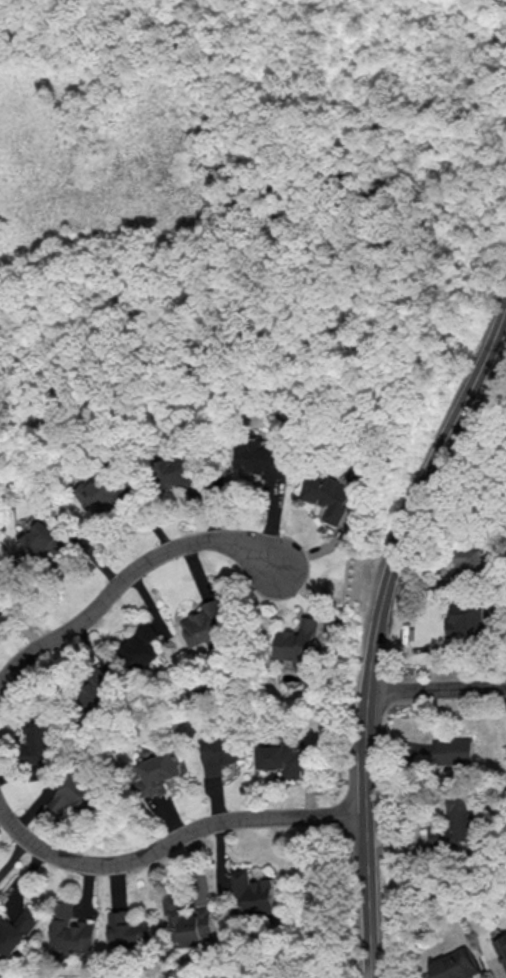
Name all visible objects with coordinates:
building: (102, 494)
building: (332, 499)
building: (43, 542)
building: (469, 560)
road: (125, 581)
road: (443, 582)
building: (468, 621)
building: (205, 623)
road: (376, 631)
building: (299, 640)
building: (142, 647)
road: (437, 692)
building: (96, 694)
building: (40, 733)
building: (453, 750)
building: (223, 753)
building: (283, 757)
building: (159, 772)
building: (77, 793)
building: (455, 823)
road: (171, 842)
building: (254, 892)
building: (191, 919)
building: (17, 930)
building: (129, 930)
building: (73, 932)
building: (502, 946)
building: (456, 965)

